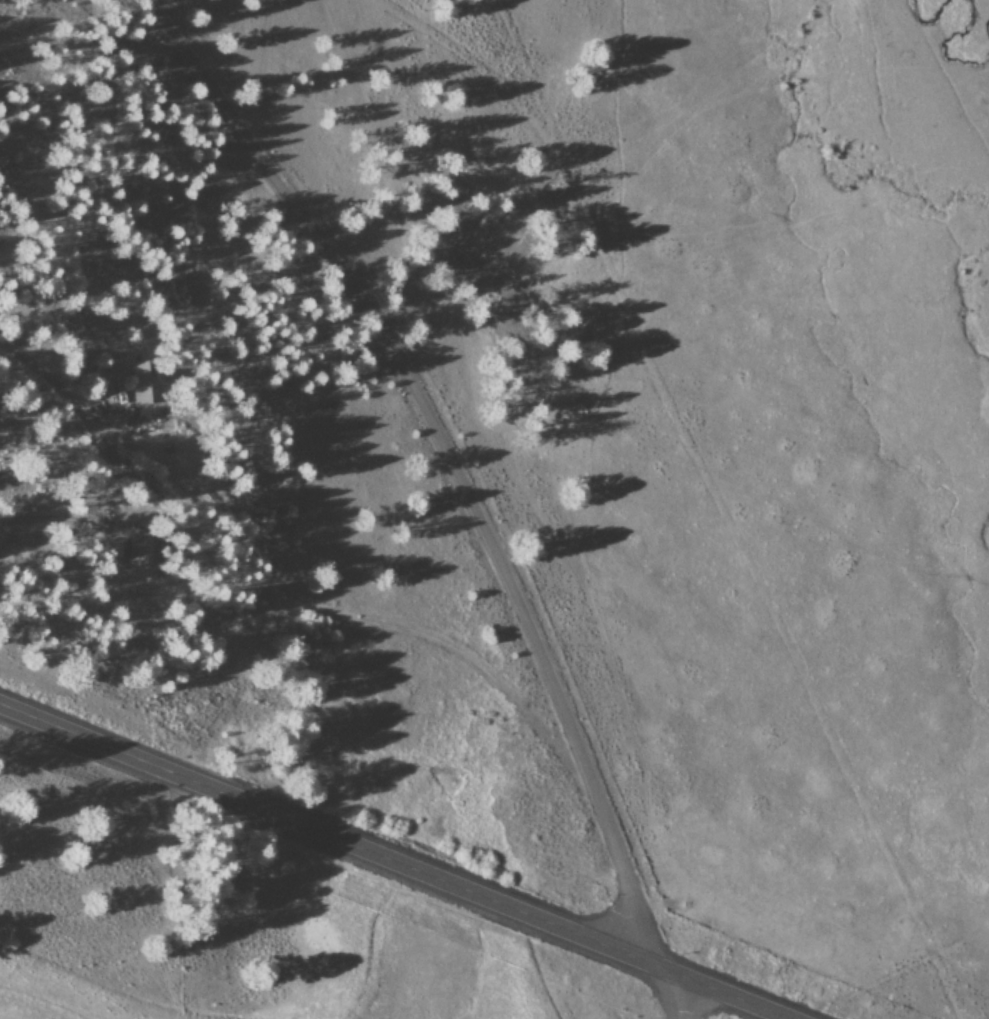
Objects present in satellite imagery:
road: (475, 453)
road: (397, 862)
road: (672, 993)

